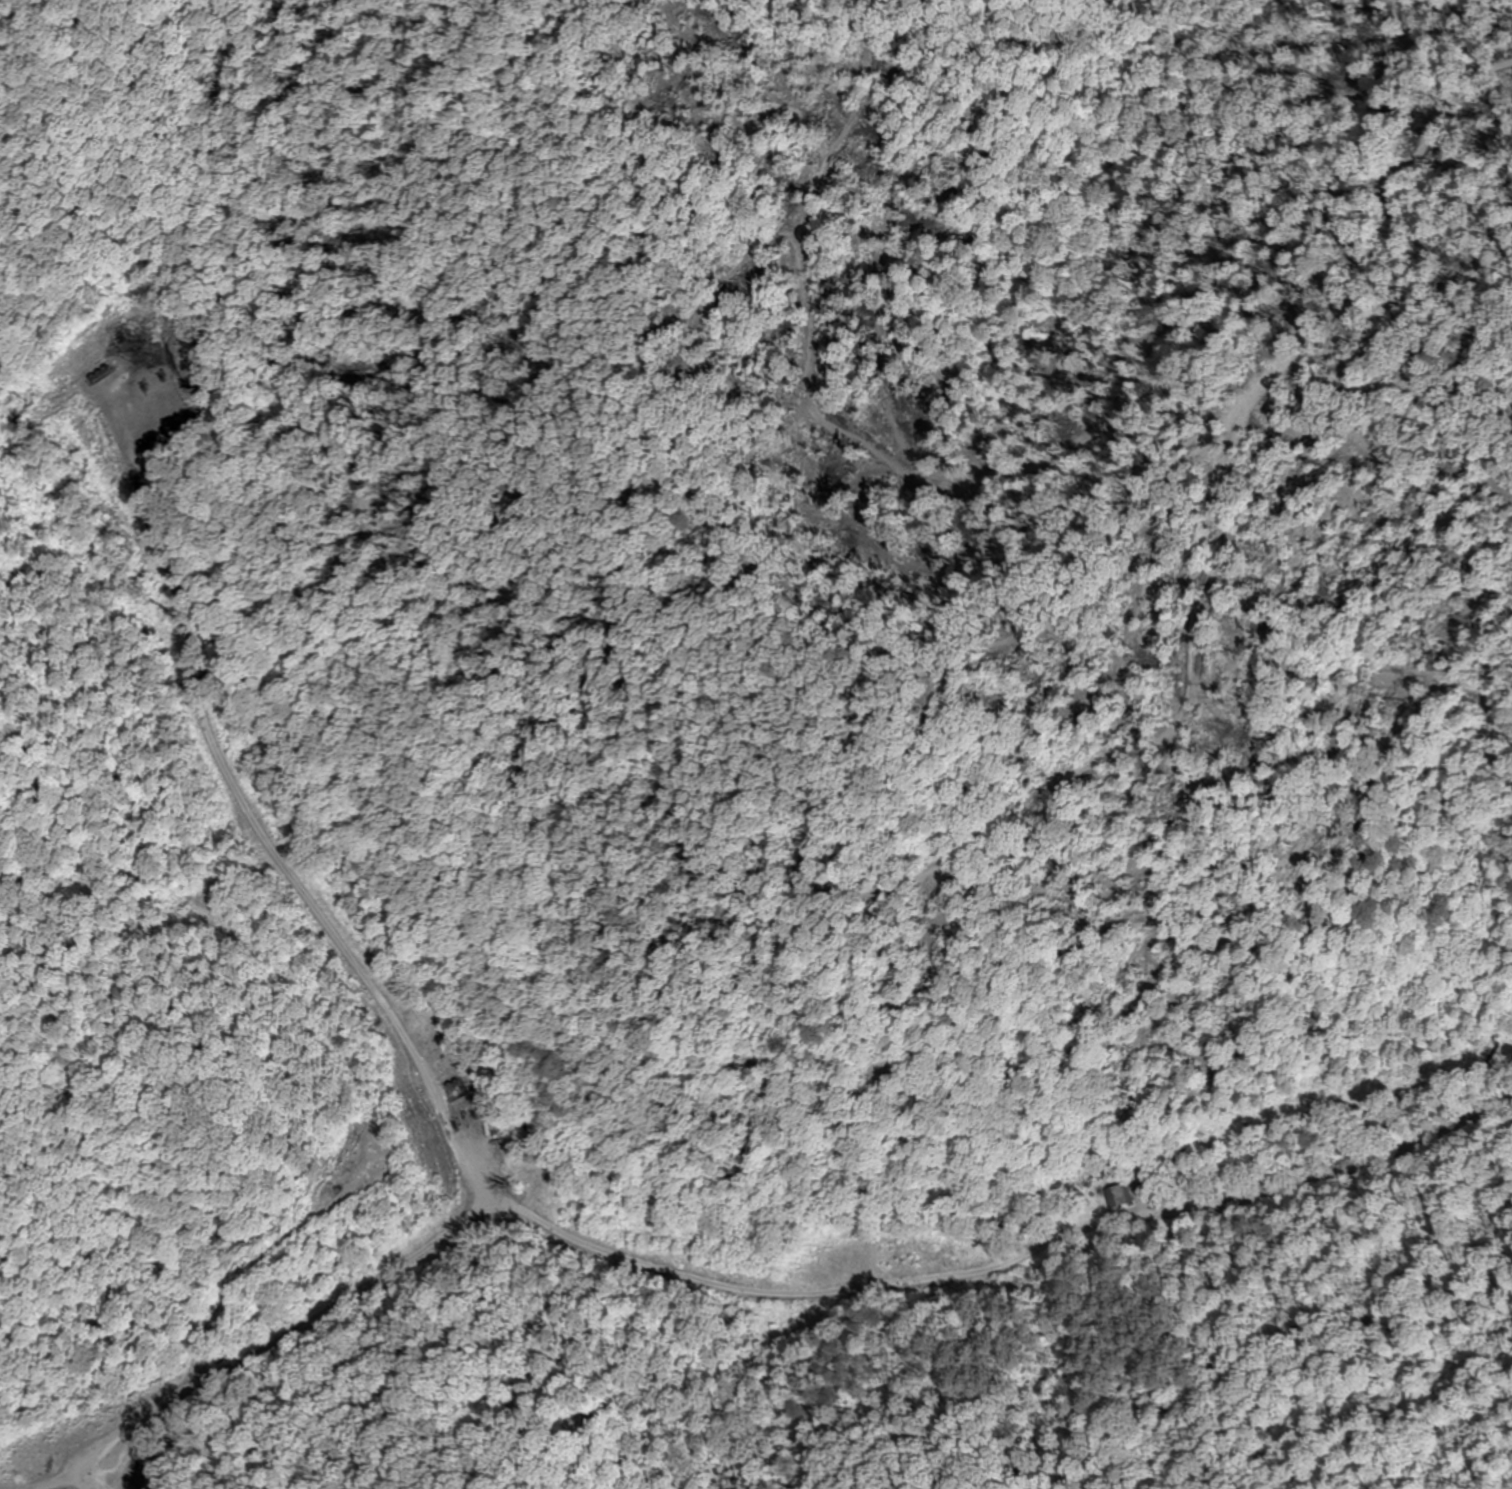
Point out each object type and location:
building: (1127, 1193)
road: (1294, 1226)

